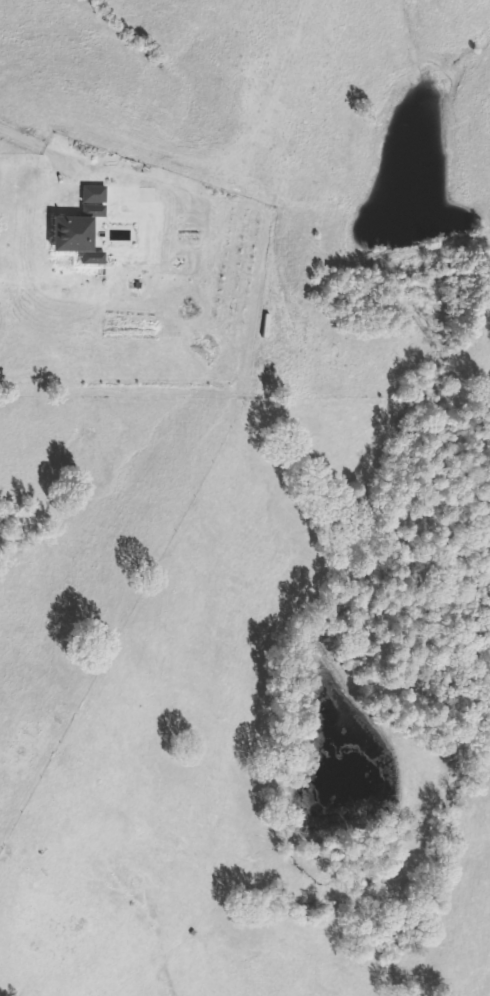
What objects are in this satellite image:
building: (84, 230)

